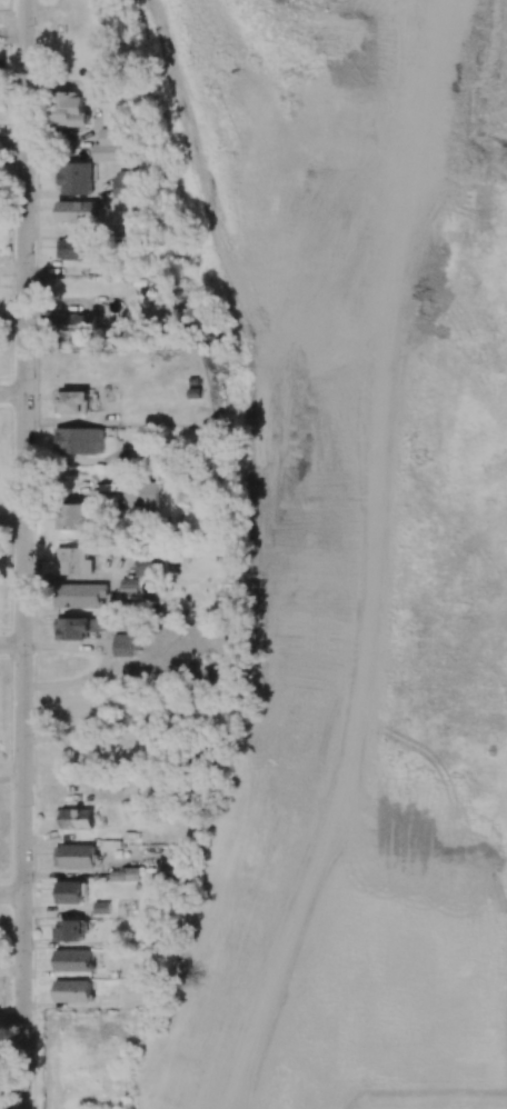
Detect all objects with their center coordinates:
road: (12, 20)
building: (70, 109)
road: (12, 144)
building: (111, 146)
building: (76, 178)
building: (123, 183)
building: (77, 211)
building: (77, 249)
road: (12, 271)
road: (12, 394)
building: (72, 401)
building: (79, 440)
building: (137, 450)
building: (143, 493)
building: (77, 517)
road: (12, 520)
road: (24, 554)
building: (73, 561)
building: (152, 566)
building: (83, 596)
building: (78, 627)
road: (12, 645)
building: (125, 645)
building: (82, 702)
road: (12, 769)
building: (77, 818)
building: (74, 856)
building: (122, 875)
building: (70, 892)
road: (11, 895)
building: (70, 930)
building: (72, 960)
building: (72, 990)
road: (11, 1021)

